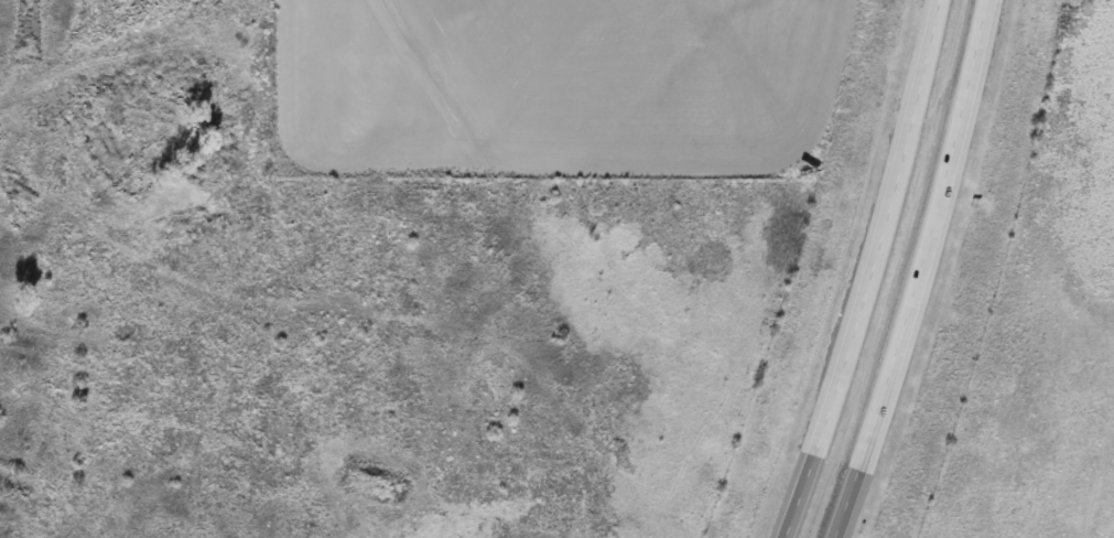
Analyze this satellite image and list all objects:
road: (882, 226)
road: (928, 234)
road: (798, 494)
road: (844, 502)

